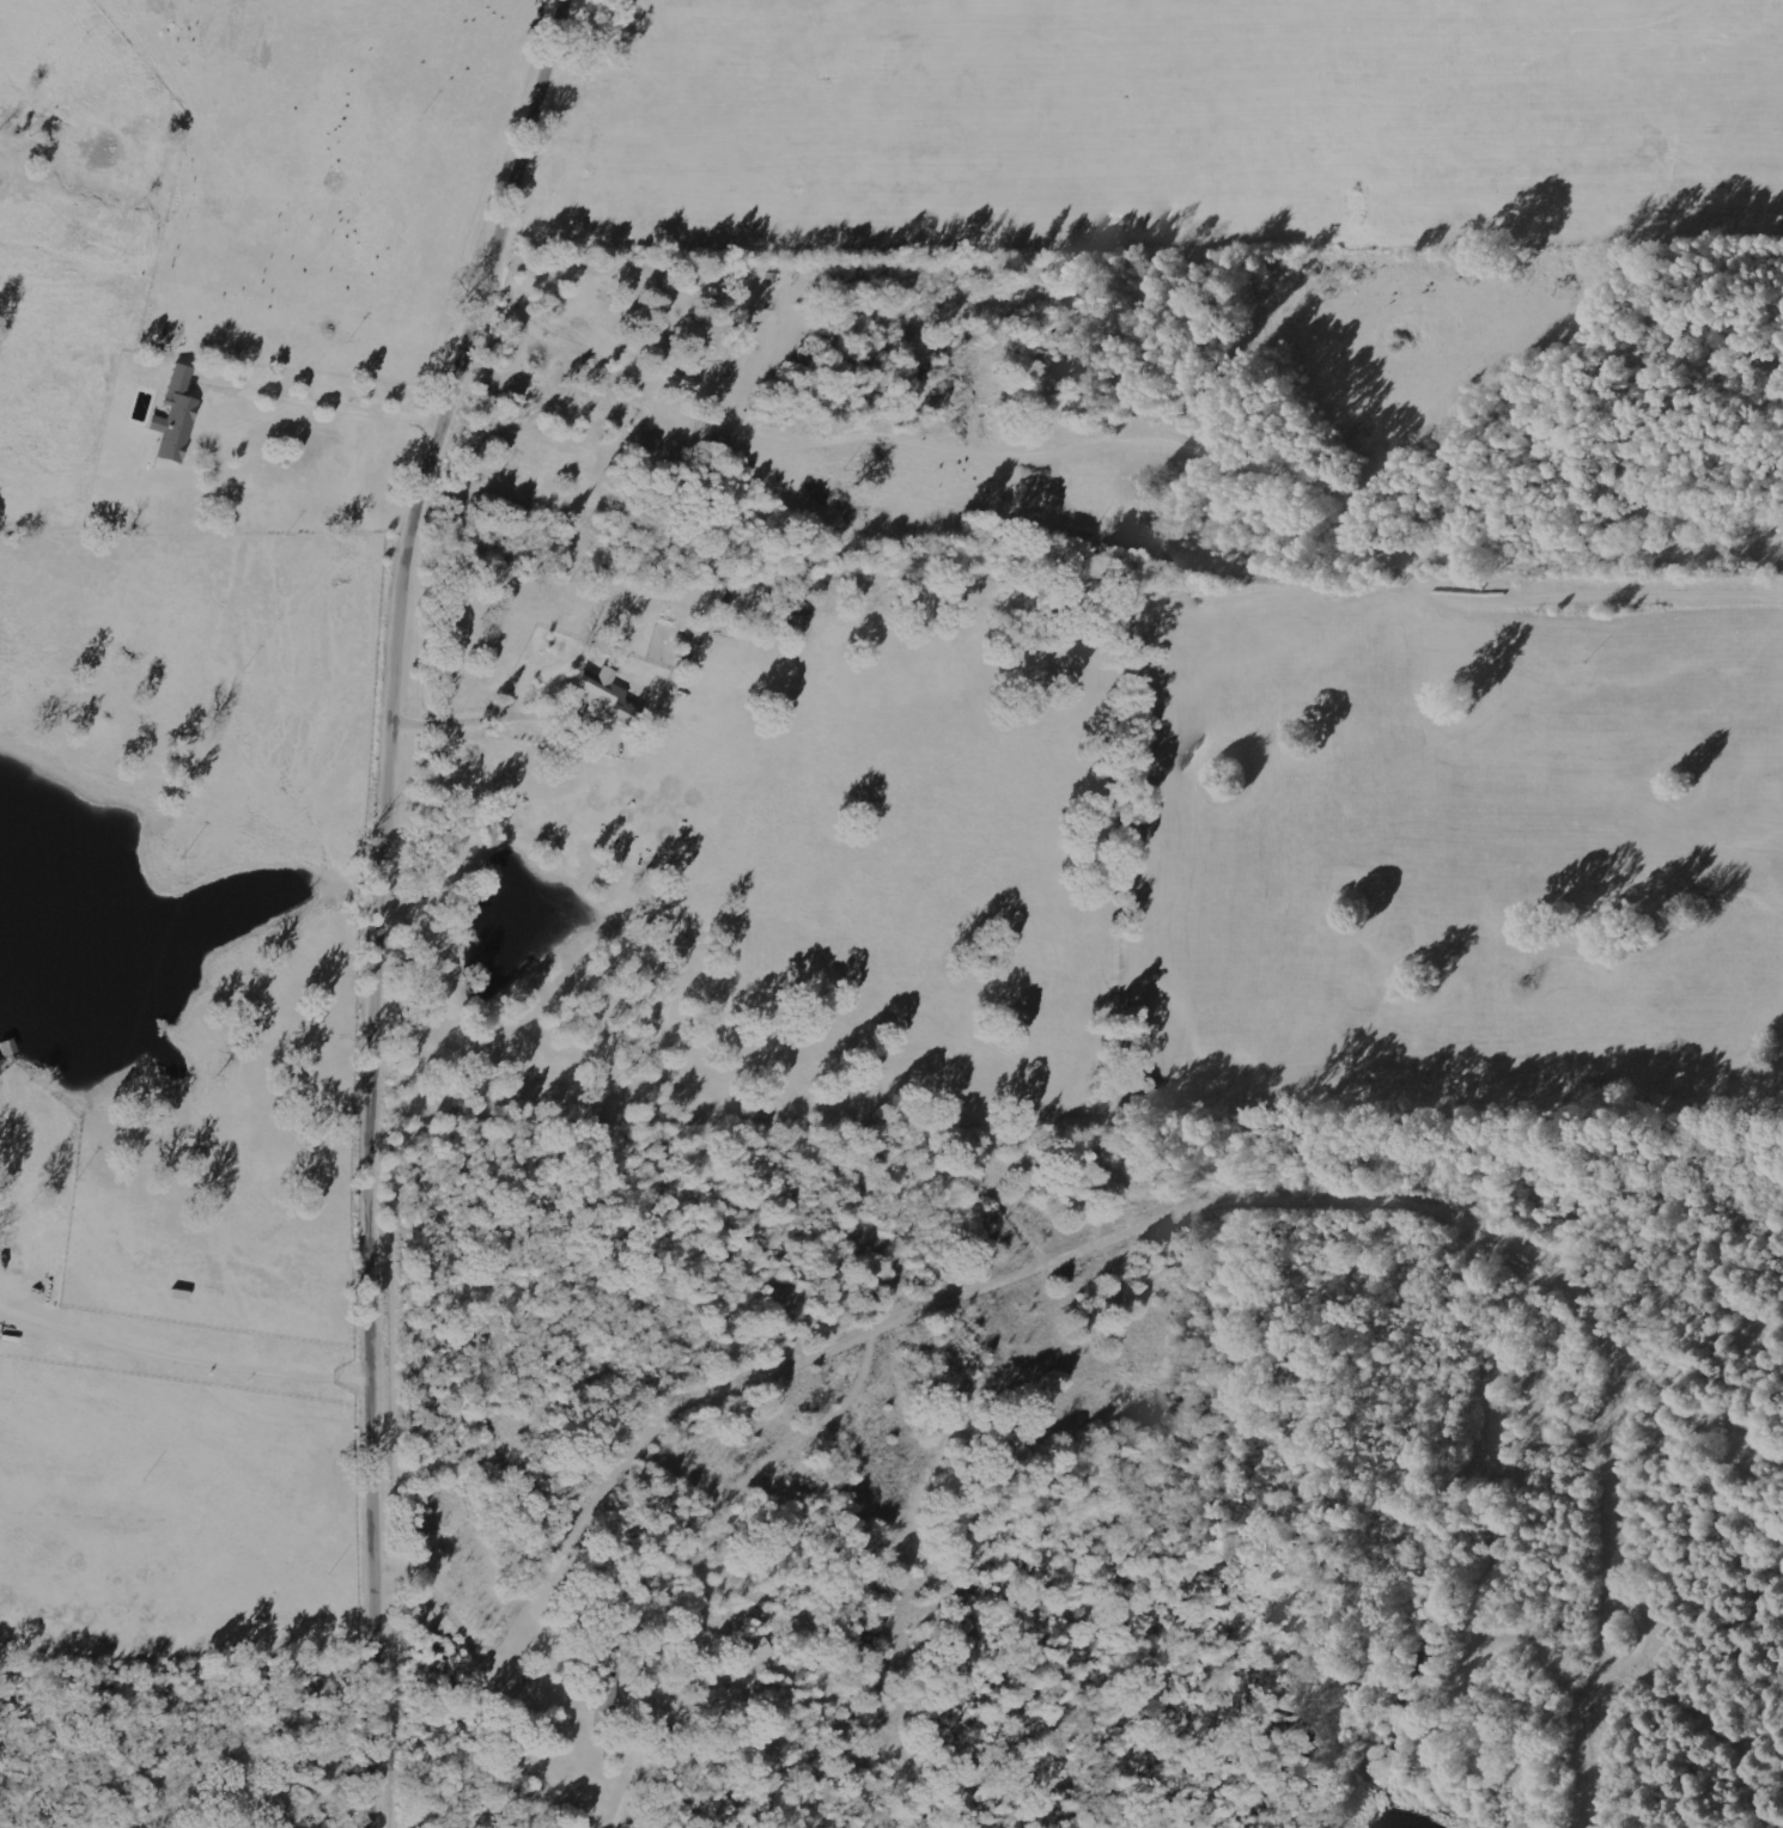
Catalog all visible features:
building: (174, 418)
building: (591, 691)
road: (509, 711)
building: (622, 712)
road: (384, 902)
building: (755, 1650)

